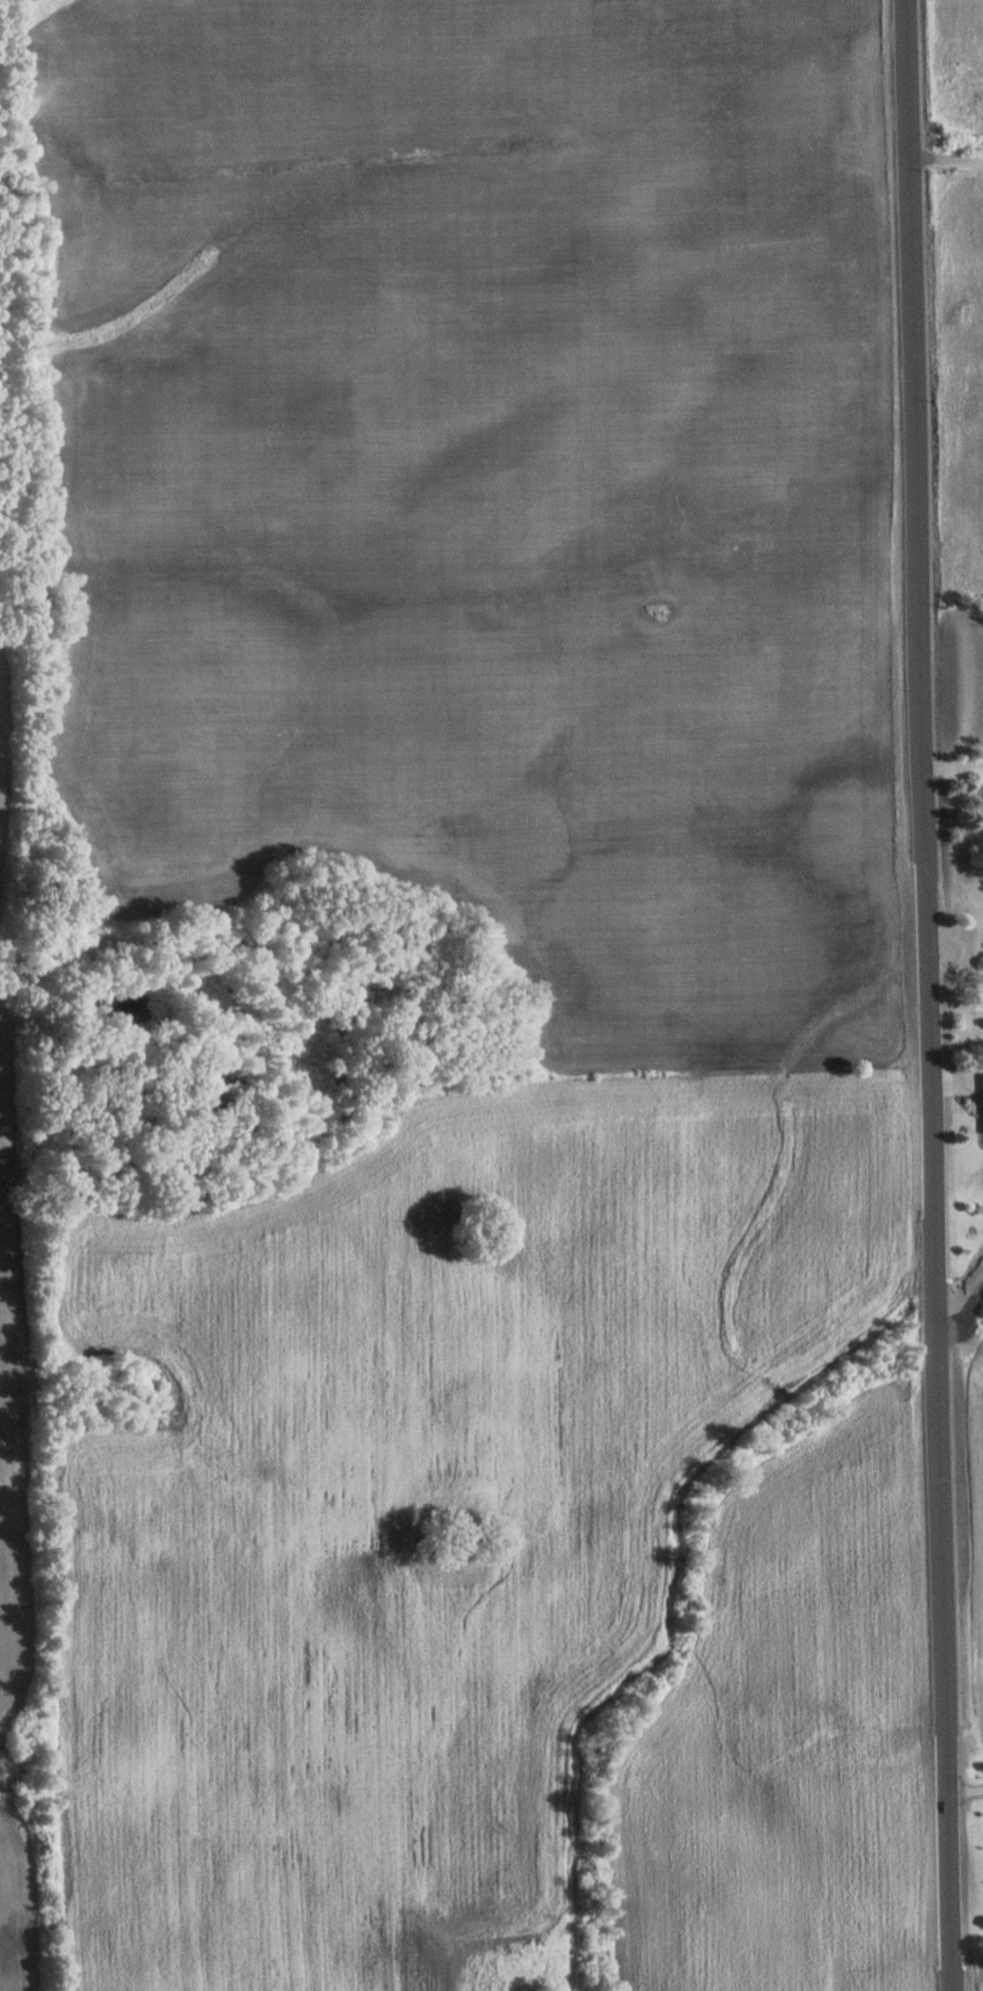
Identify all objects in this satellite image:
road: (946, 157)
road: (954, 776)
road: (929, 995)
road: (964, 1082)
road: (937, 1083)
road: (947, 1083)
building: (980, 1100)
road: (968, 1320)
road: (967, 1793)

